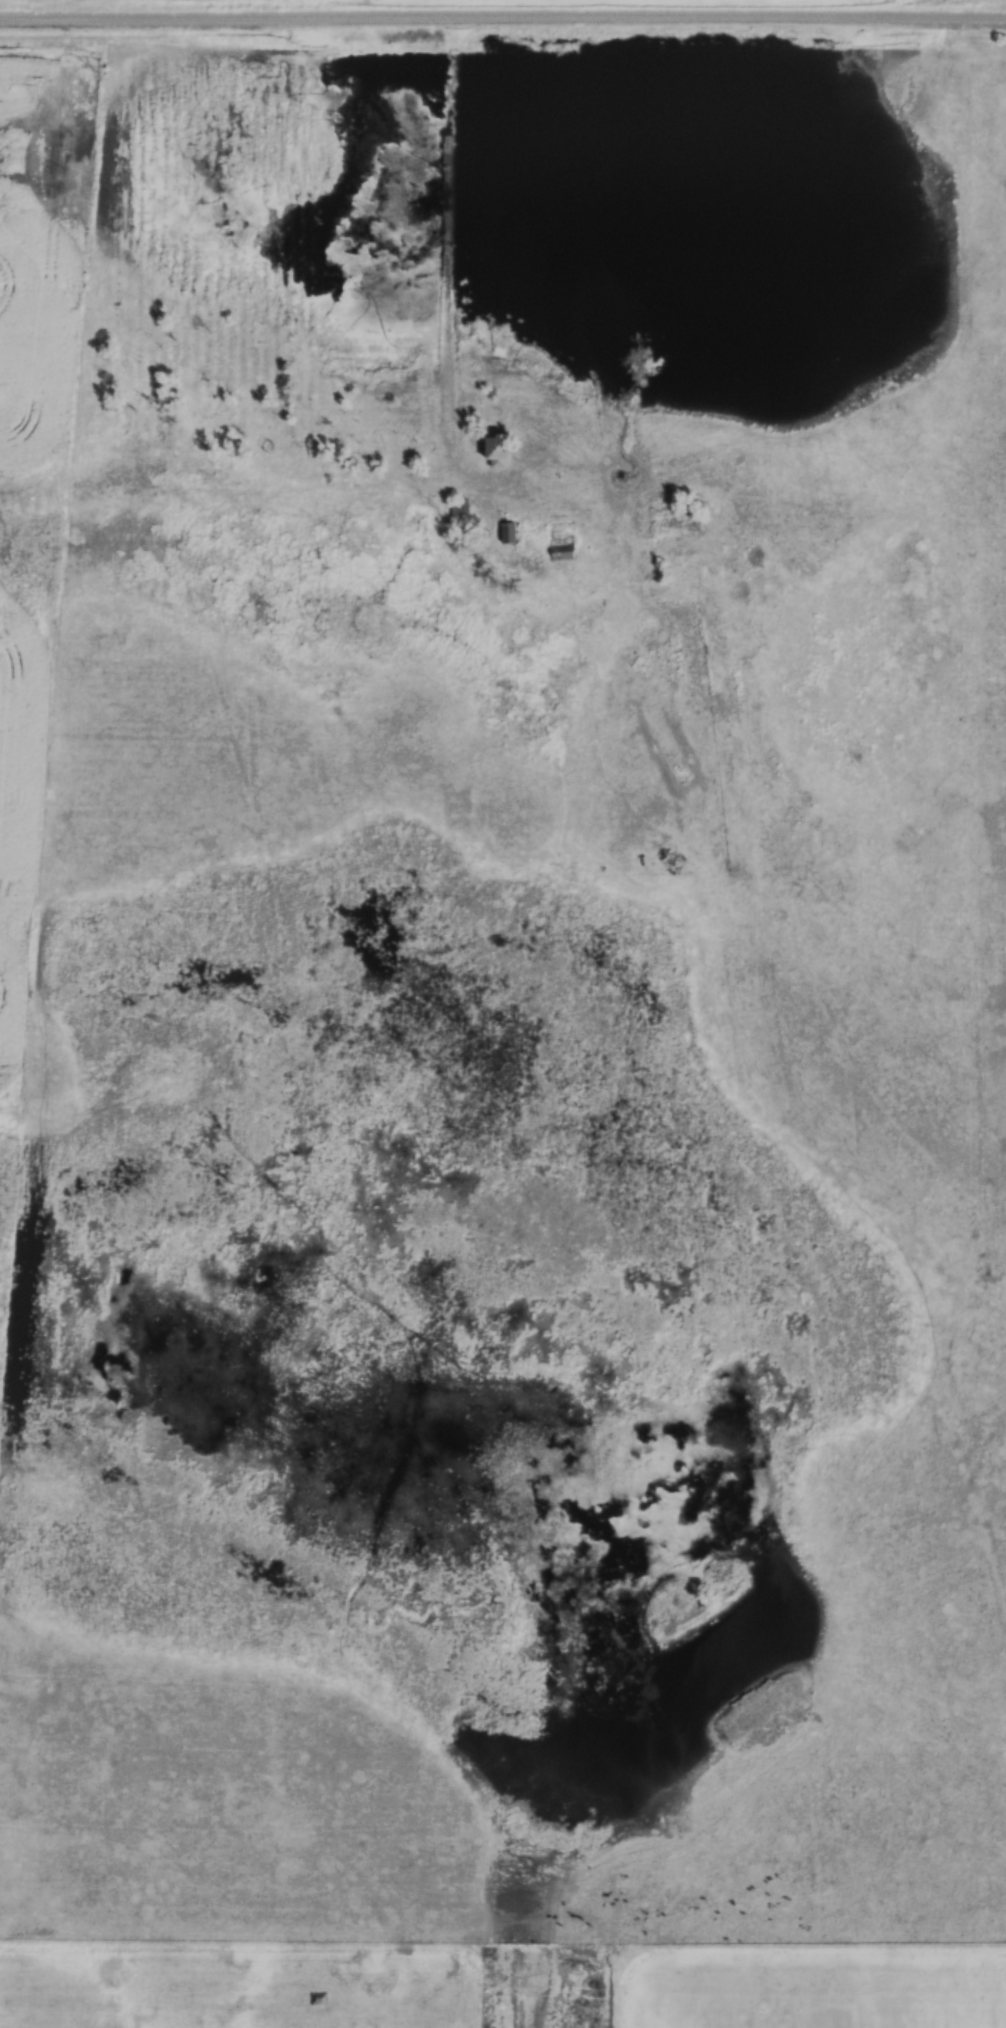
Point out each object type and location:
road: (248, 16)
road: (750, 20)
road: (485, 224)
building: (494, 450)
building: (458, 511)
building: (506, 533)
building: (561, 551)

